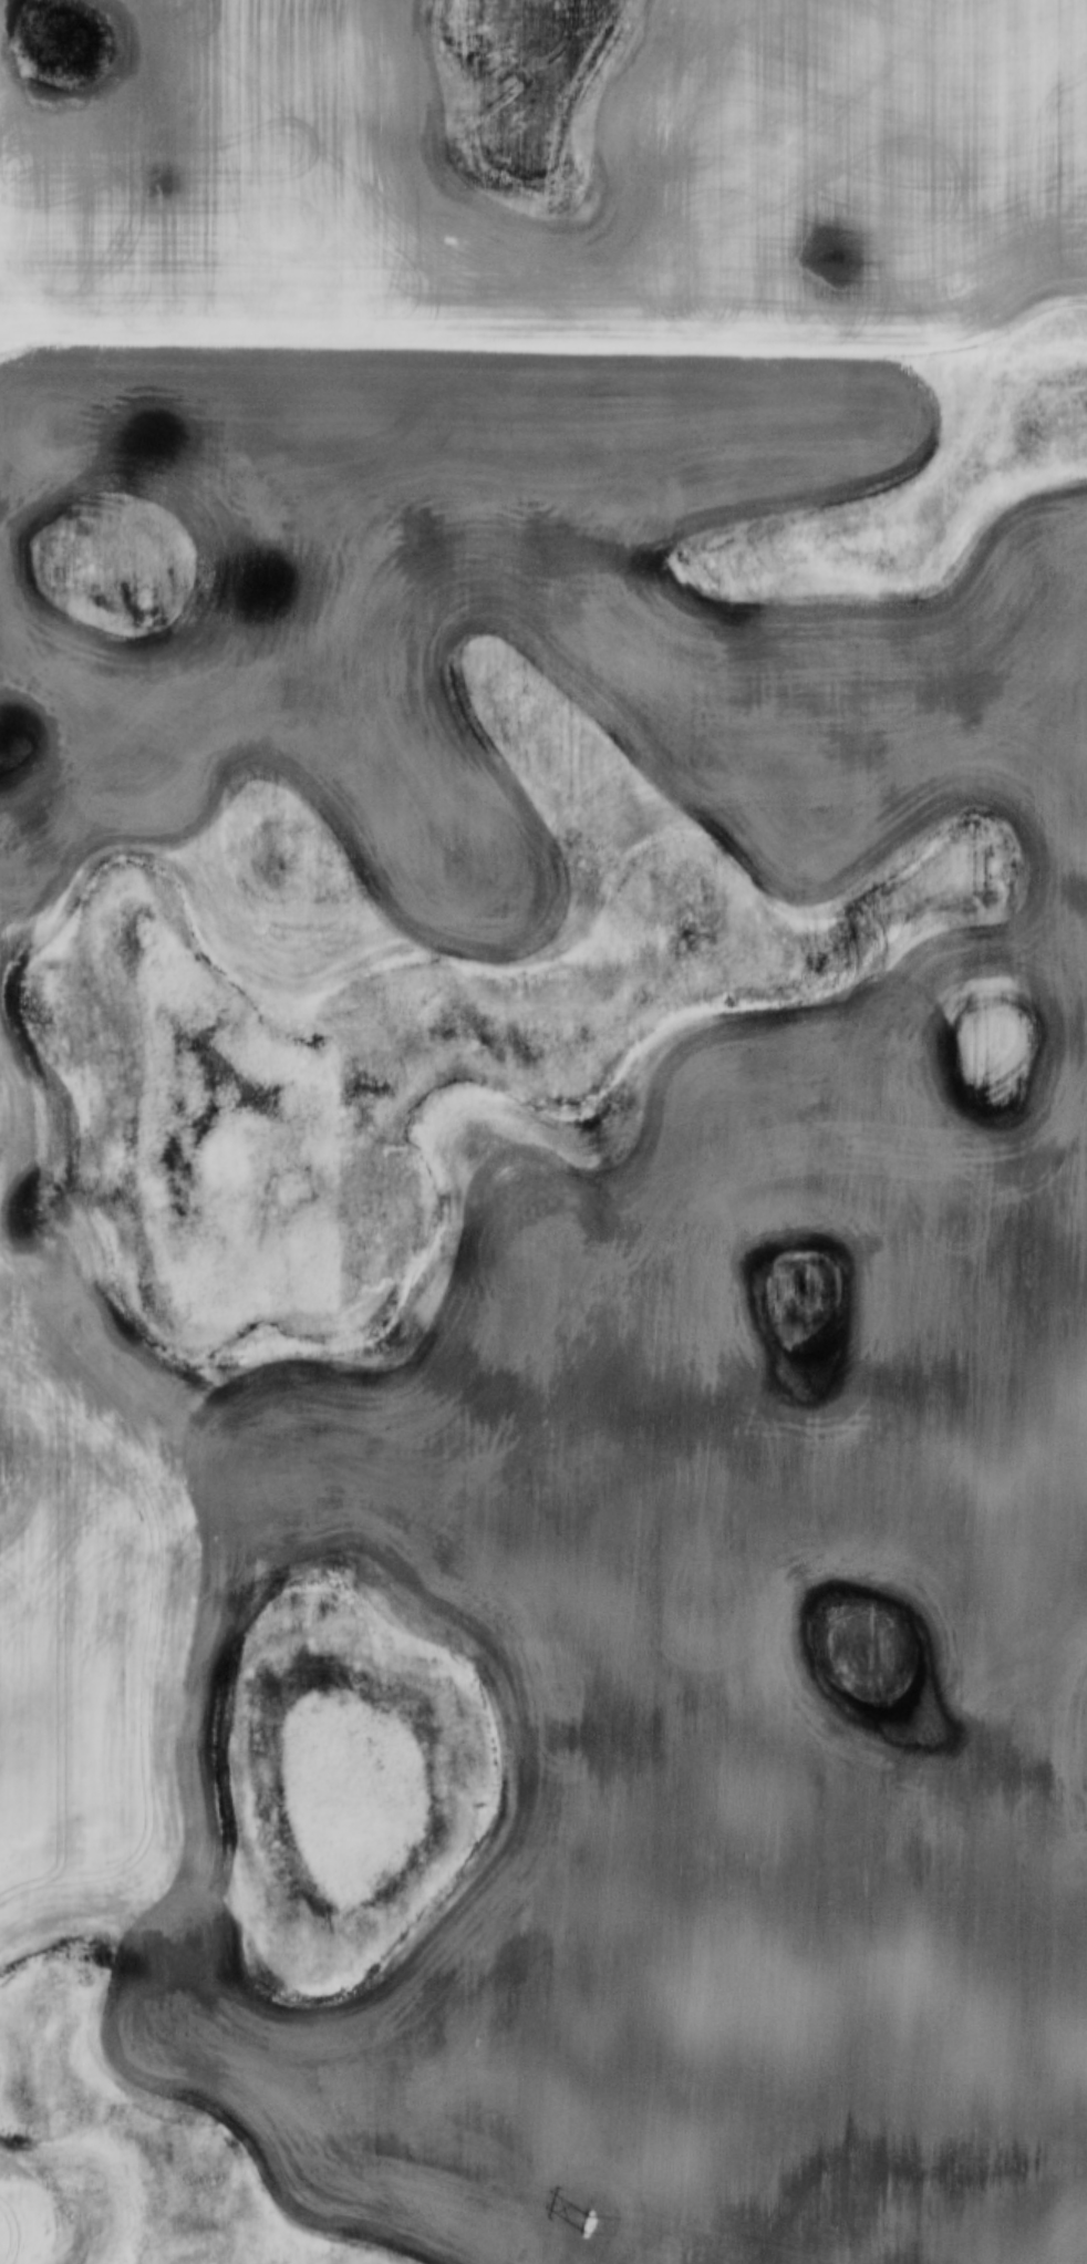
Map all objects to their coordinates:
power tower: (590, 2225)

